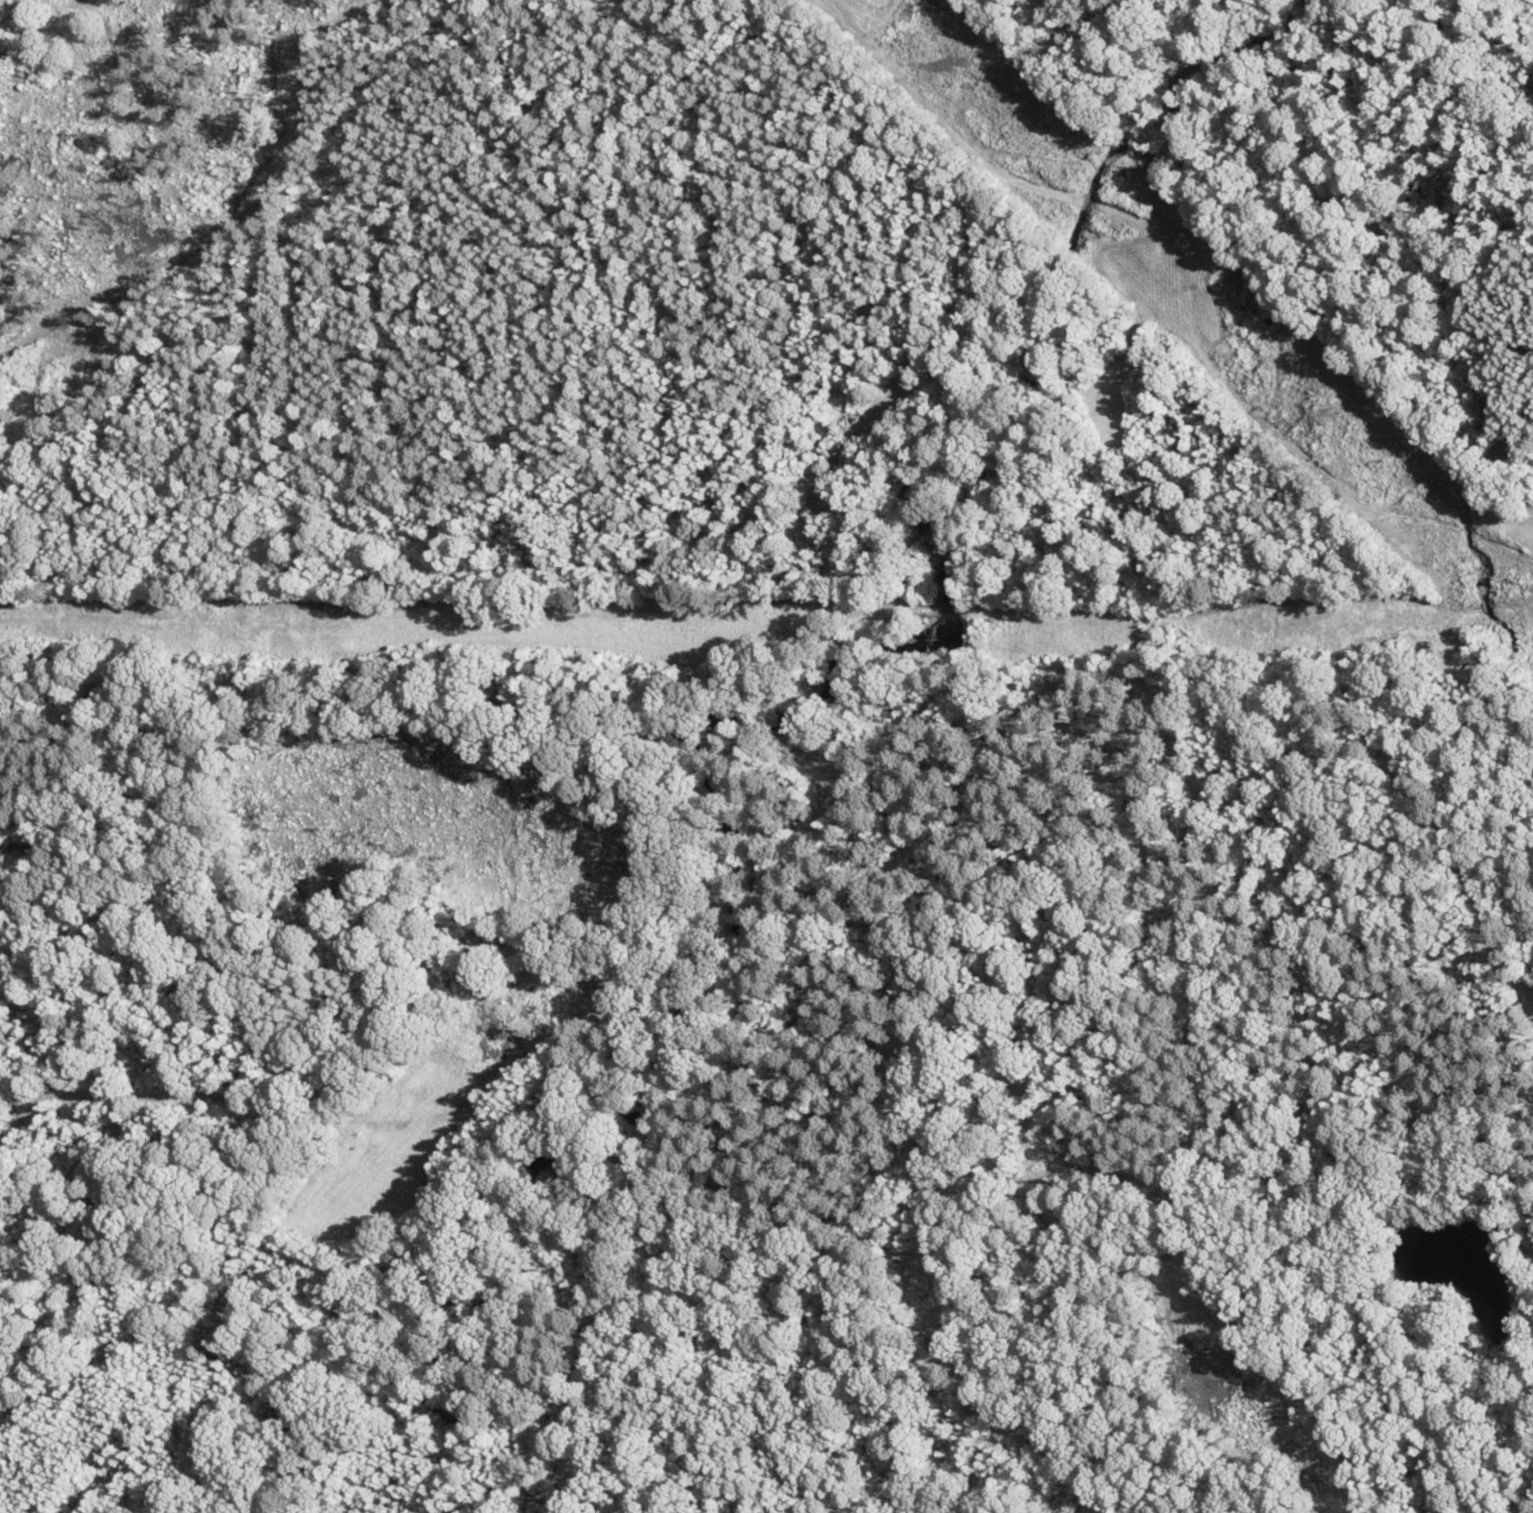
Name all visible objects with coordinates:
power tower: (1337, 419)

